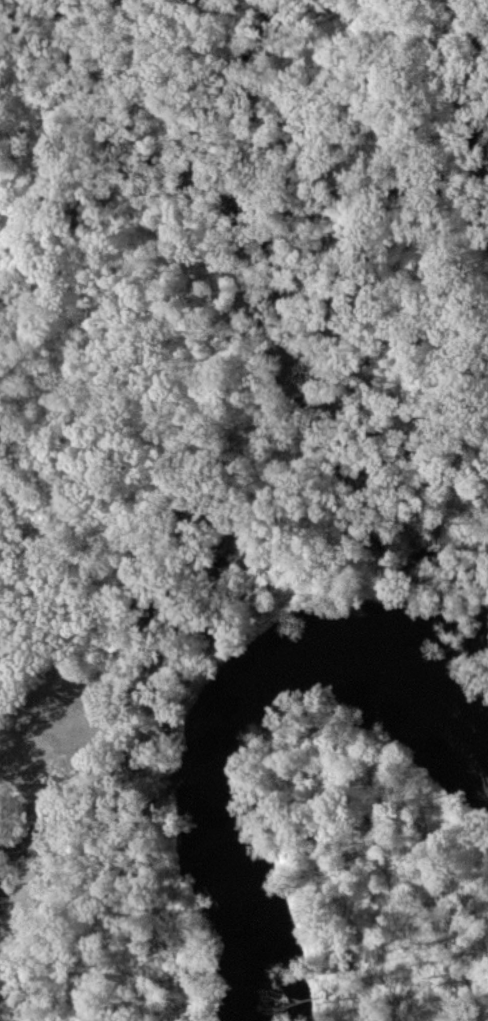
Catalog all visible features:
building: (80, 725)
river: (225, 730)
road: (57, 840)

